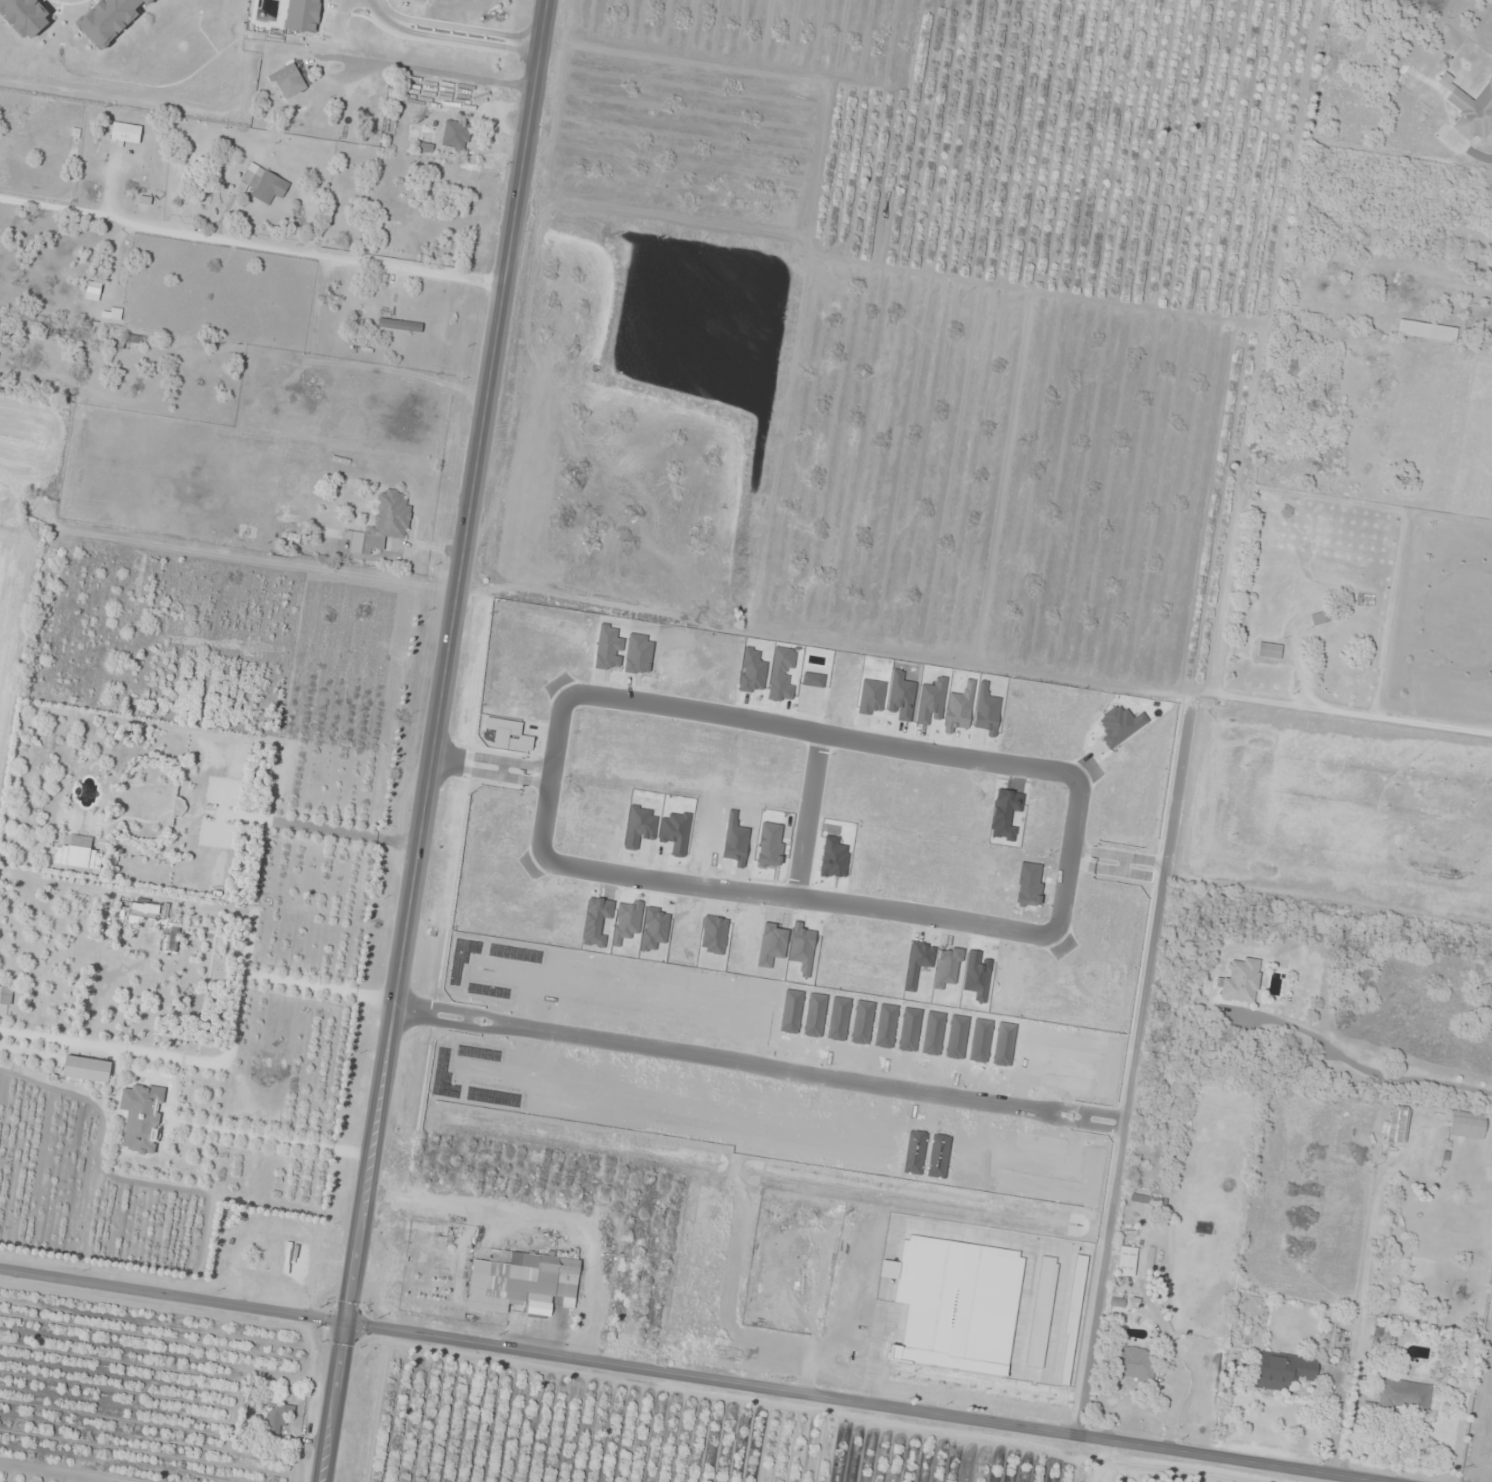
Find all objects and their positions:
building: (288, 82)
building: (1473, 113)
building: (456, 135)
building: (264, 184)
road: (250, 247)
building: (116, 314)
building: (399, 326)
building: (408, 423)
building: (388, 520)
building: (1319, 619)
building: (1269, 651)
road: (816, 731)
road: (430, 740)
road: (489, 762)
road: (548, 780)
road: (806, 814)
road: (1067, 854)
road: (1113, 860)
road: (795, 897)
building: (1482, 964)
building: (1241, 981)
road: (757, 1062)
road: (1129, 1064)
building: (1399, 1124)
building: (1467, 1125)
building: (1148, 1200)
building: (830, 1214)
building: (886, 1222)
building: (280, 1250)
building: (1127, 1261)
building: (523, 1282)
road: (172, 1301)
traffic signals: (345, 1328)
building: (1134, 1364)
building: (1284, 1371)
building: (1404, 1397)
road: (867, 1405)
building: (278, 1417)

